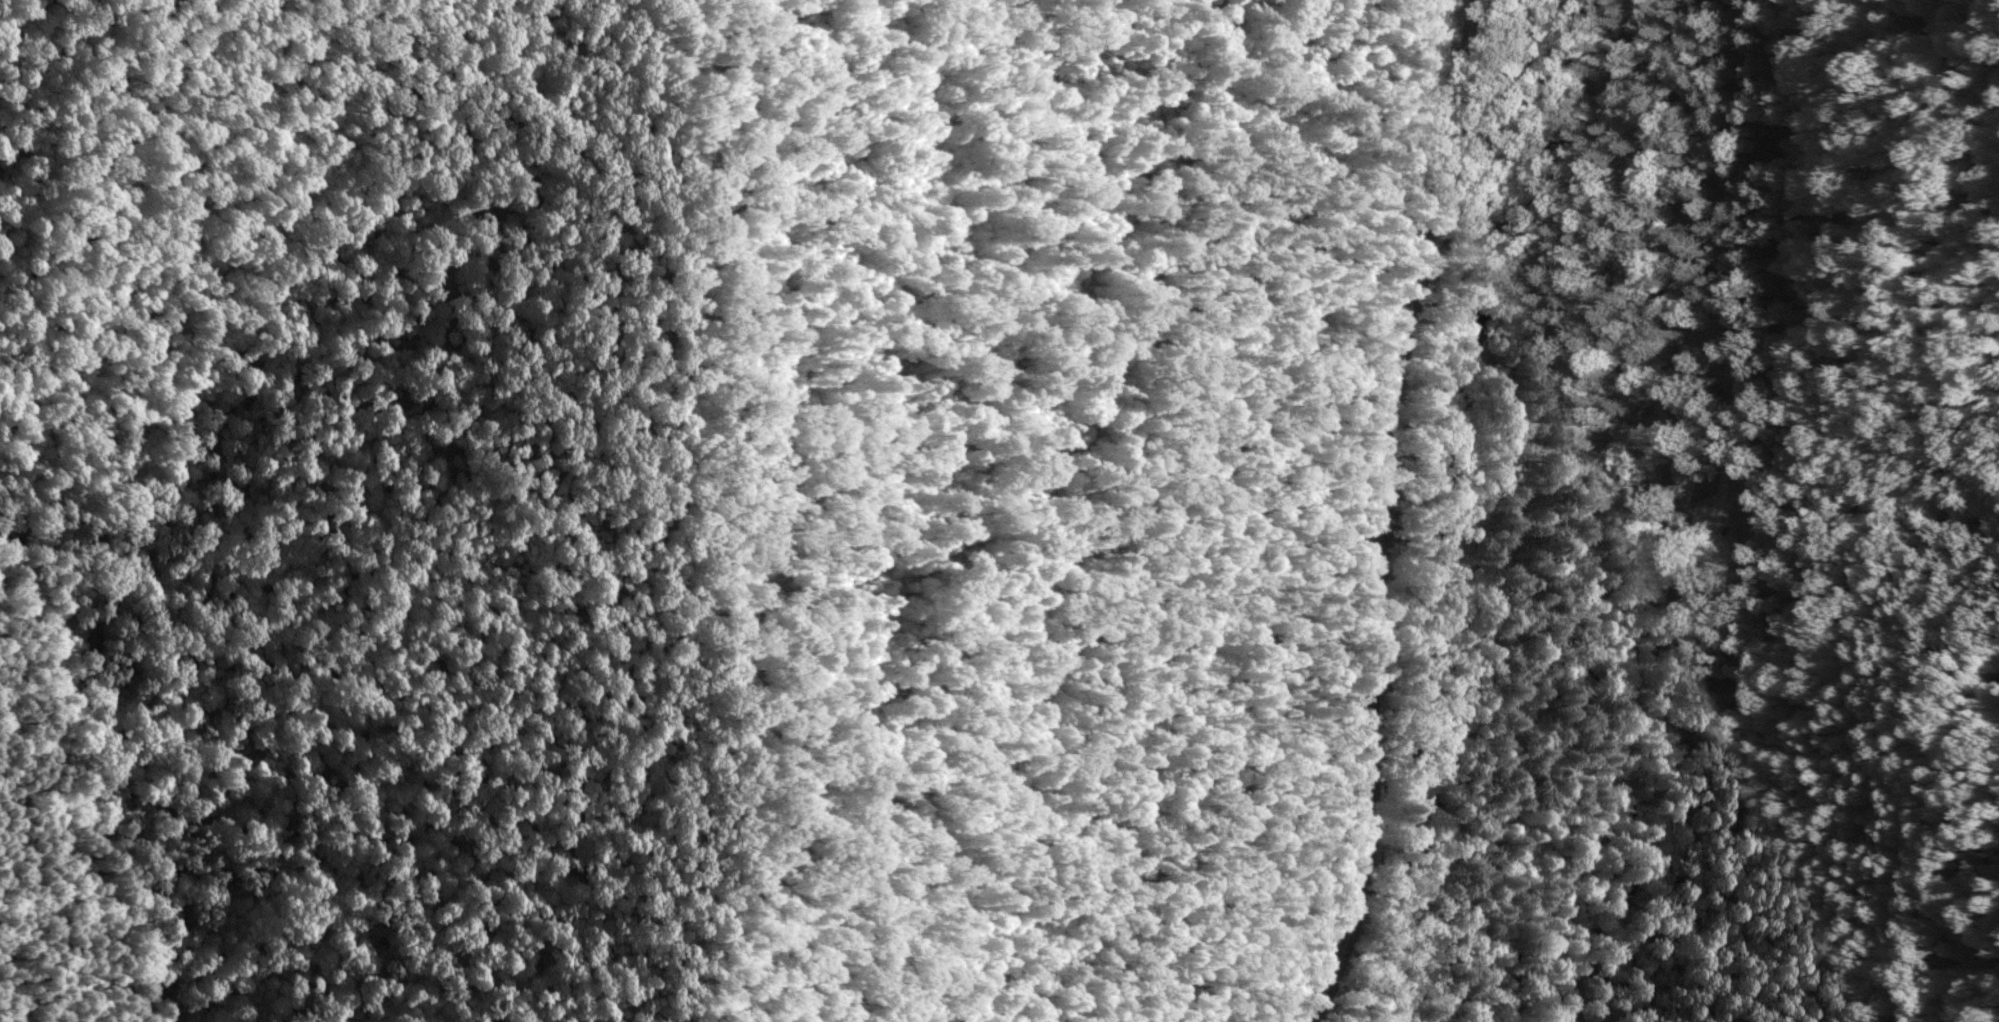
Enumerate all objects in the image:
road: (1665, 493)
road: (1375, 509)
road: (1787, 517)

